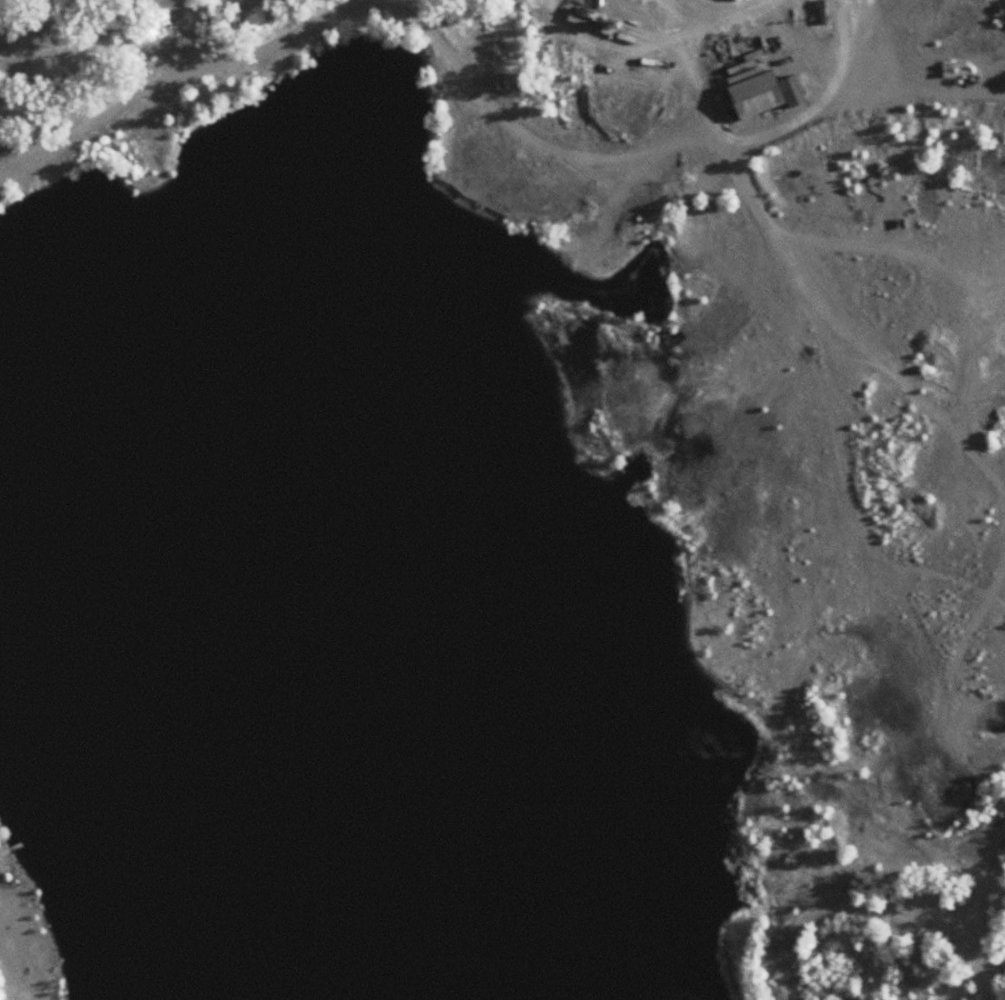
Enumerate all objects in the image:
building: (820, 11)
road: (452, 54)
building: (765, 95)
road: (791, 260)
building: (614, 495)

